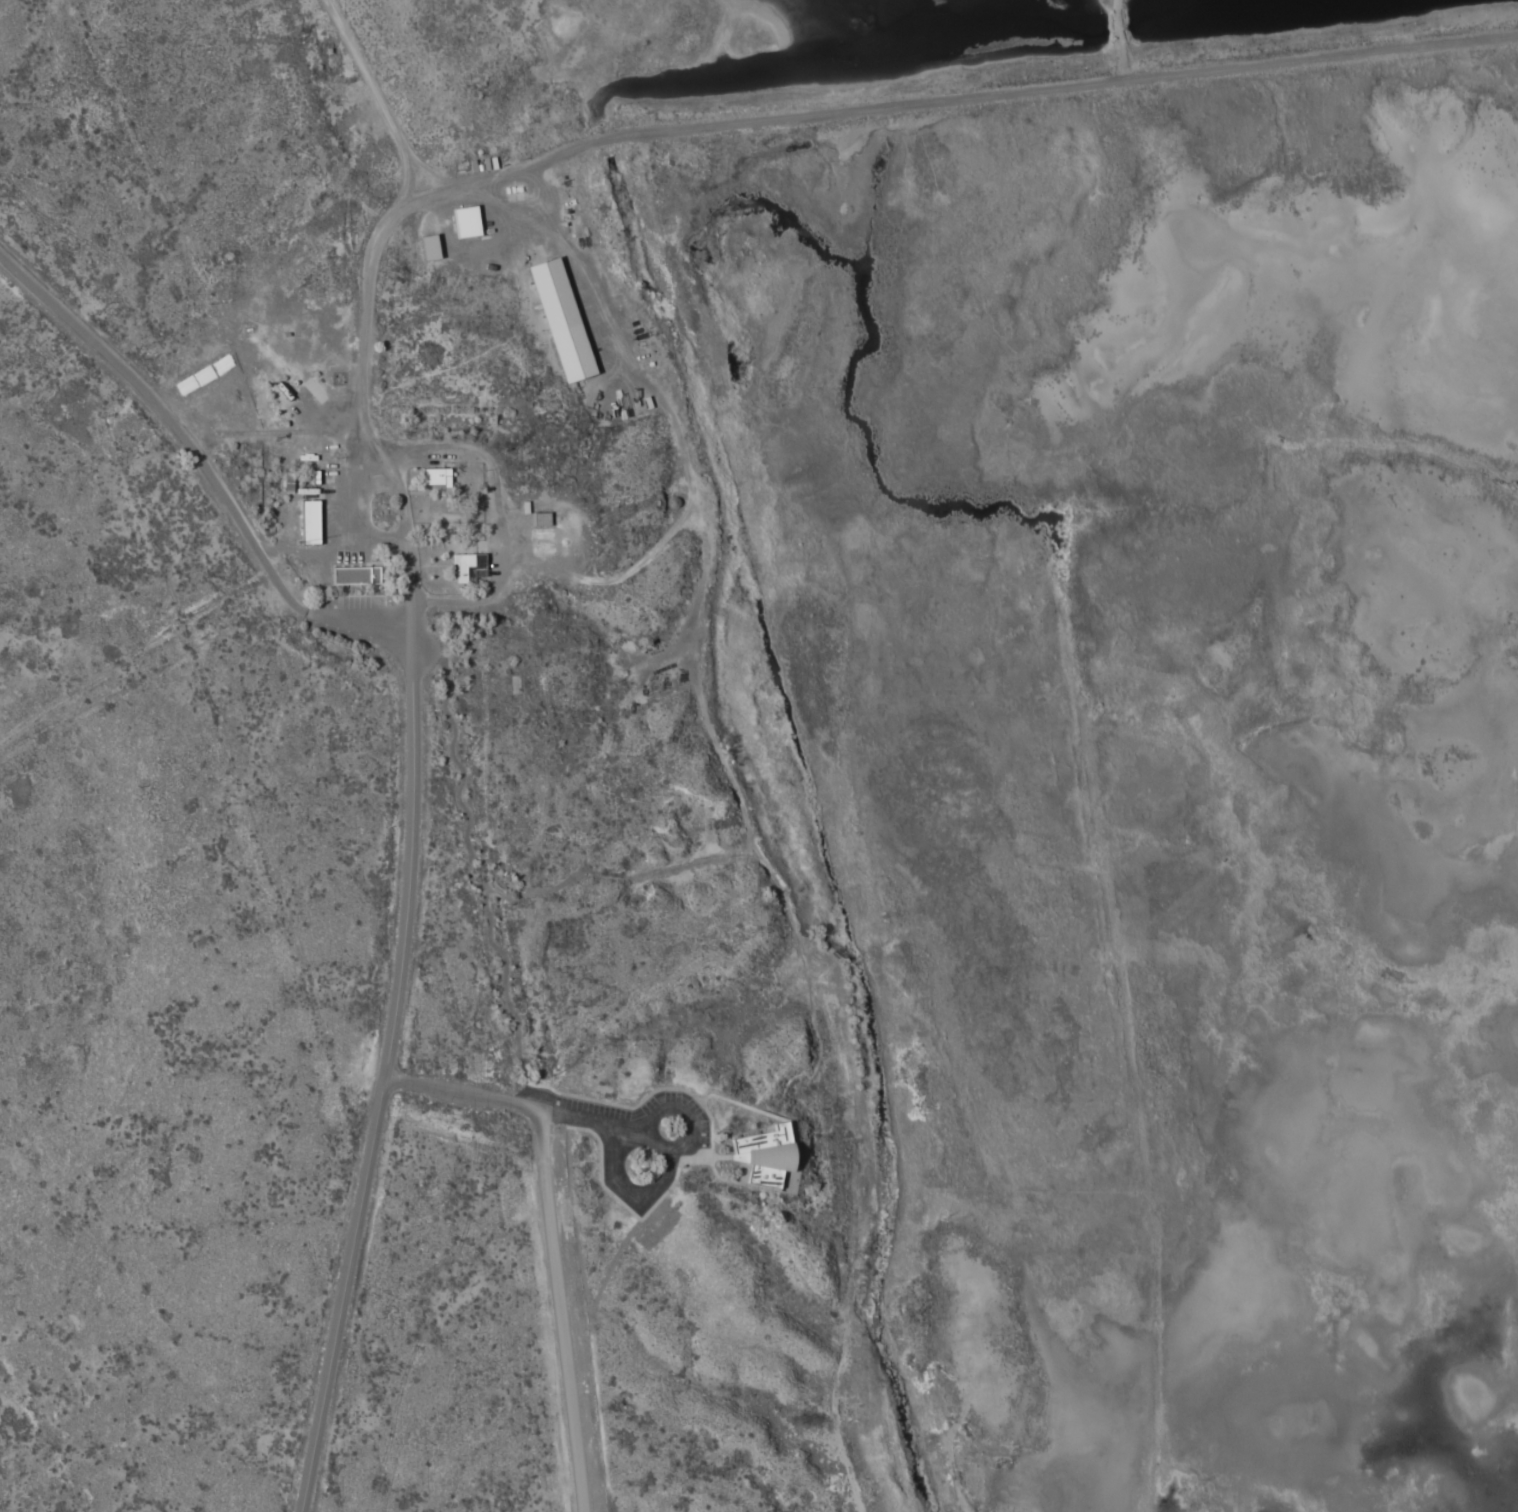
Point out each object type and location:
road: (962, 114)
building: (468, 220)
road: (368, 312)
building: (563, 319)
road: (199, 446)
building: (438, 475)
building: (543, 517)
building: (311, 520)
building: (468, 565)
building: (357, 574)
road: (475, 874)
road: (618, 882)
road: (386, 1078)
road: (739, 1107)
parking lot: (636, 1141)
building: (772, 1160)
road: (717, 1174)
road: (553, 1237)

